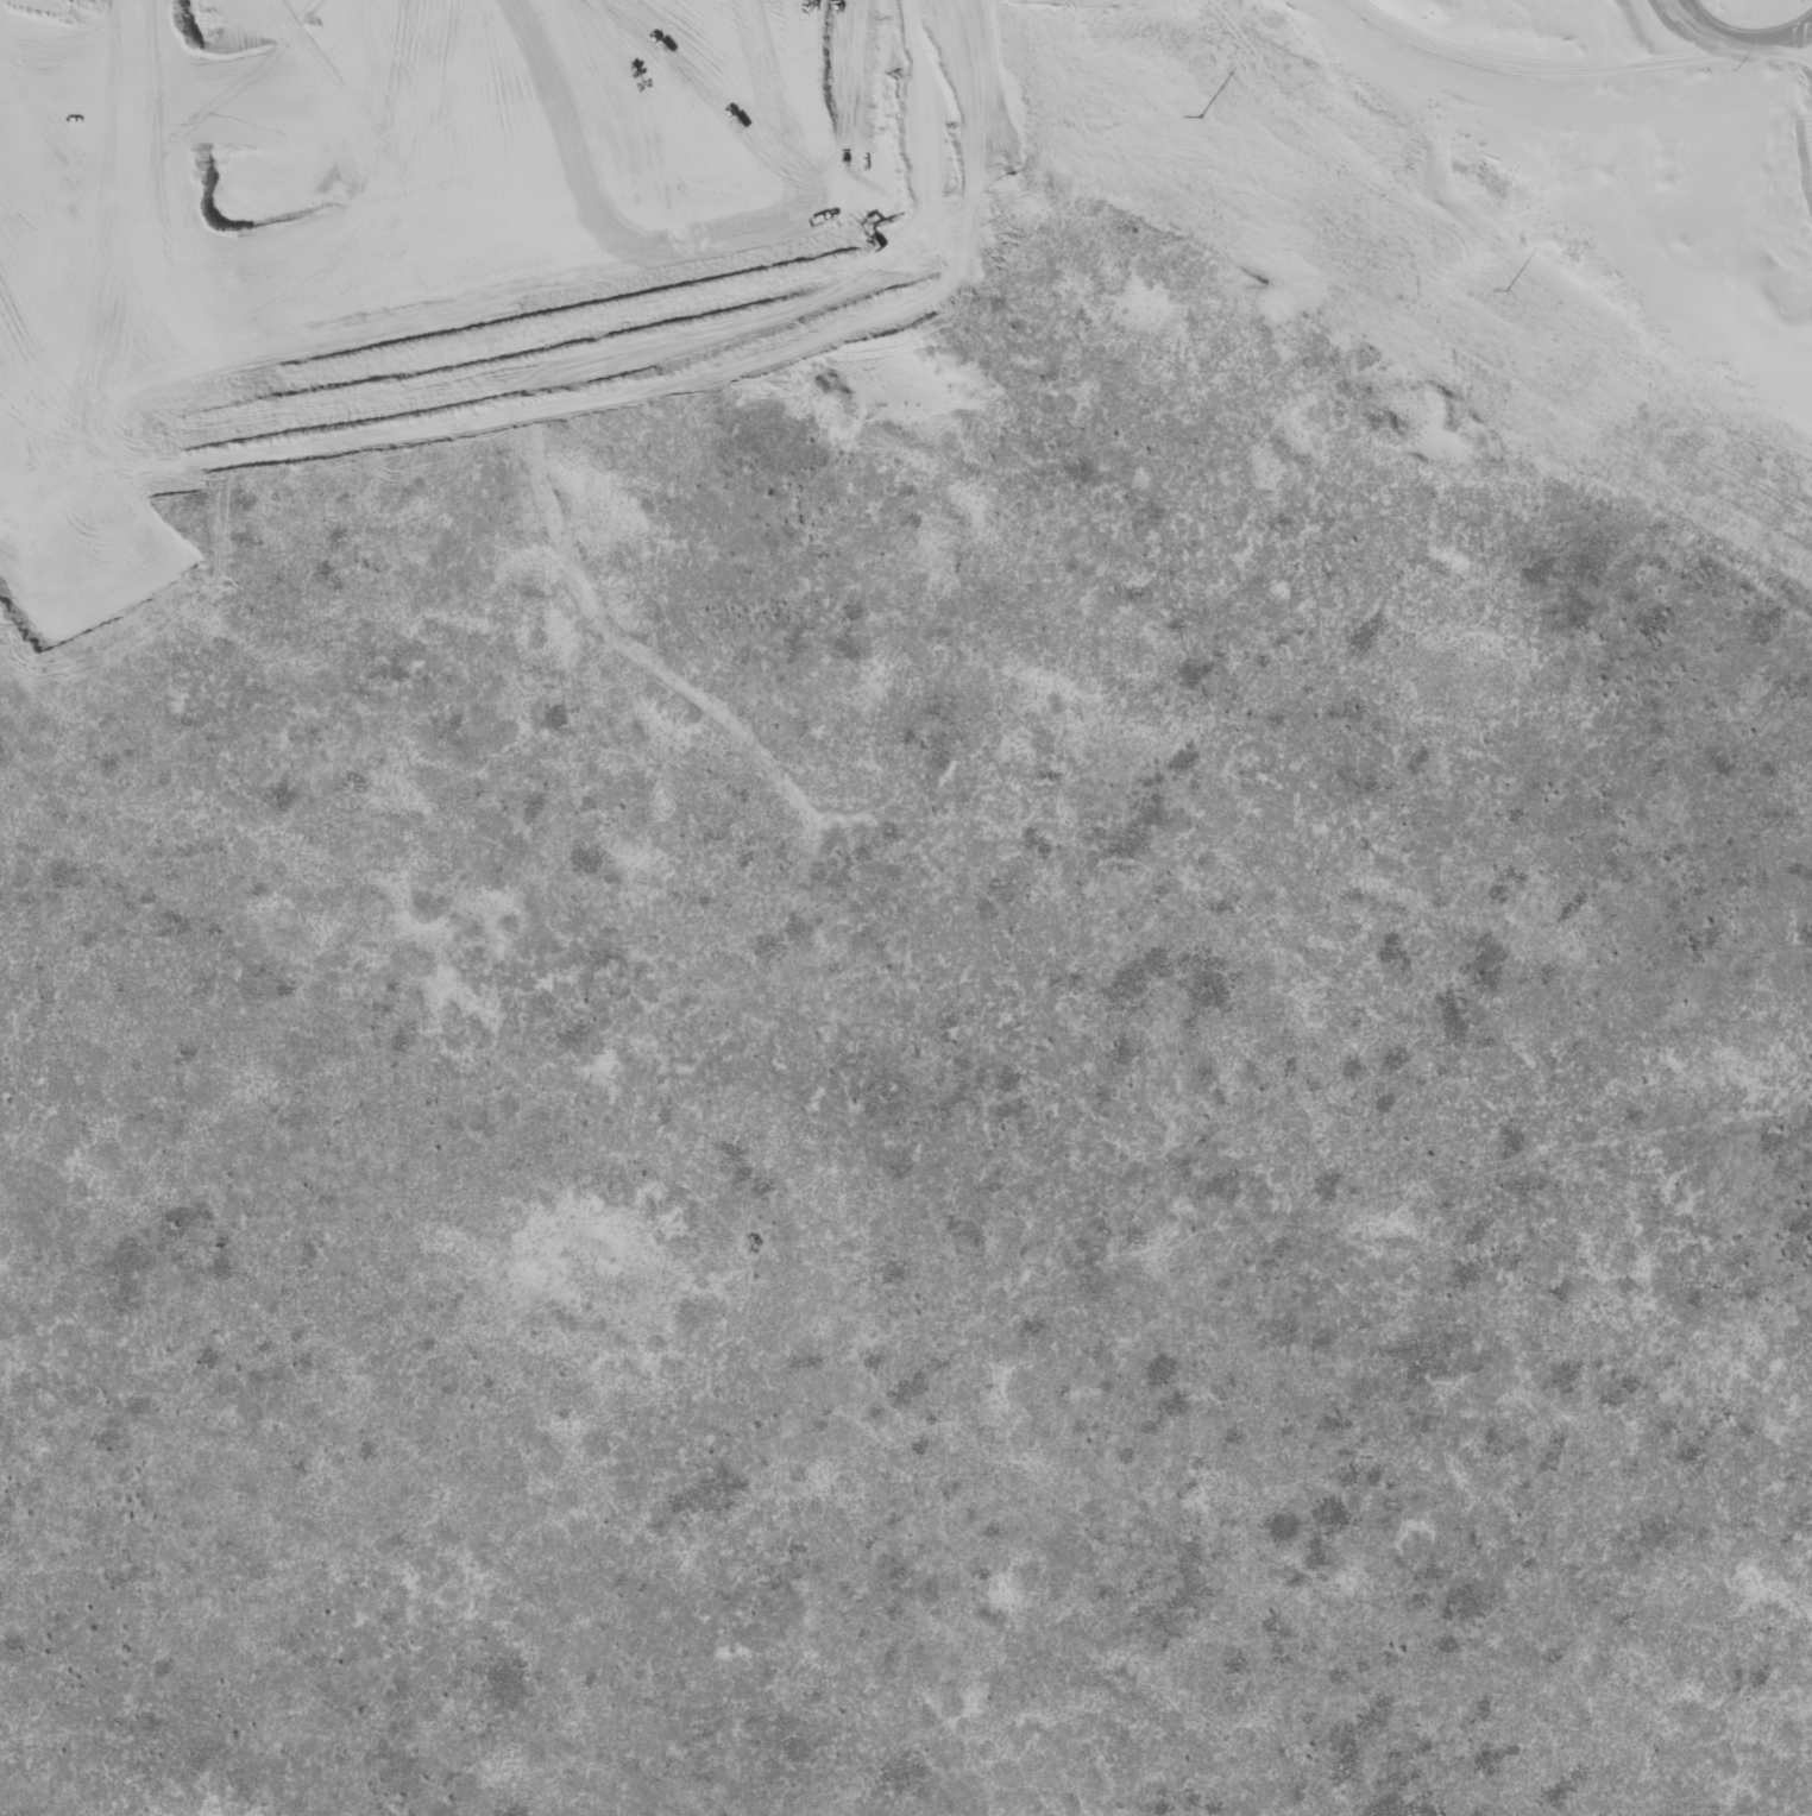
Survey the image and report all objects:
road: (1, 0)
power tower: (1198, 116)
power tower: (1505, 292)

